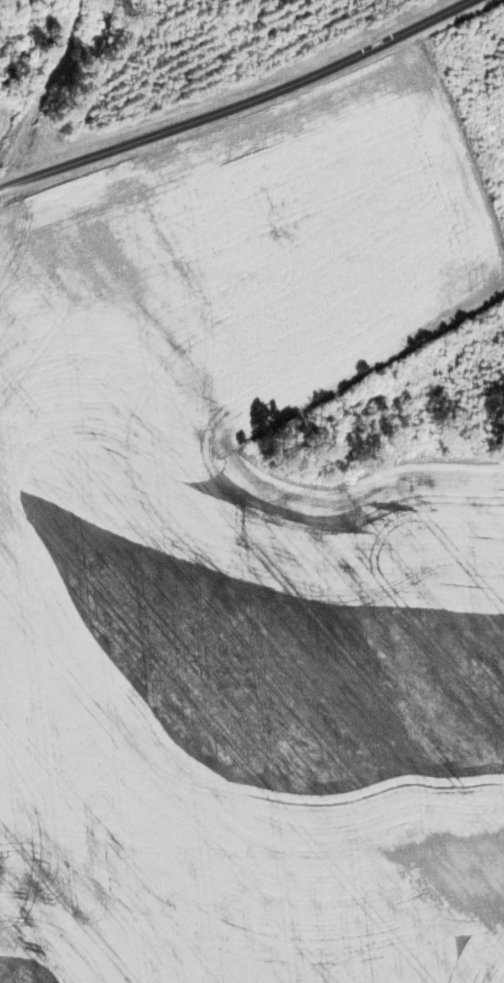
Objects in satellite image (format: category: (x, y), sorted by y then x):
railway: (39, 78)
road: (241, 105)

